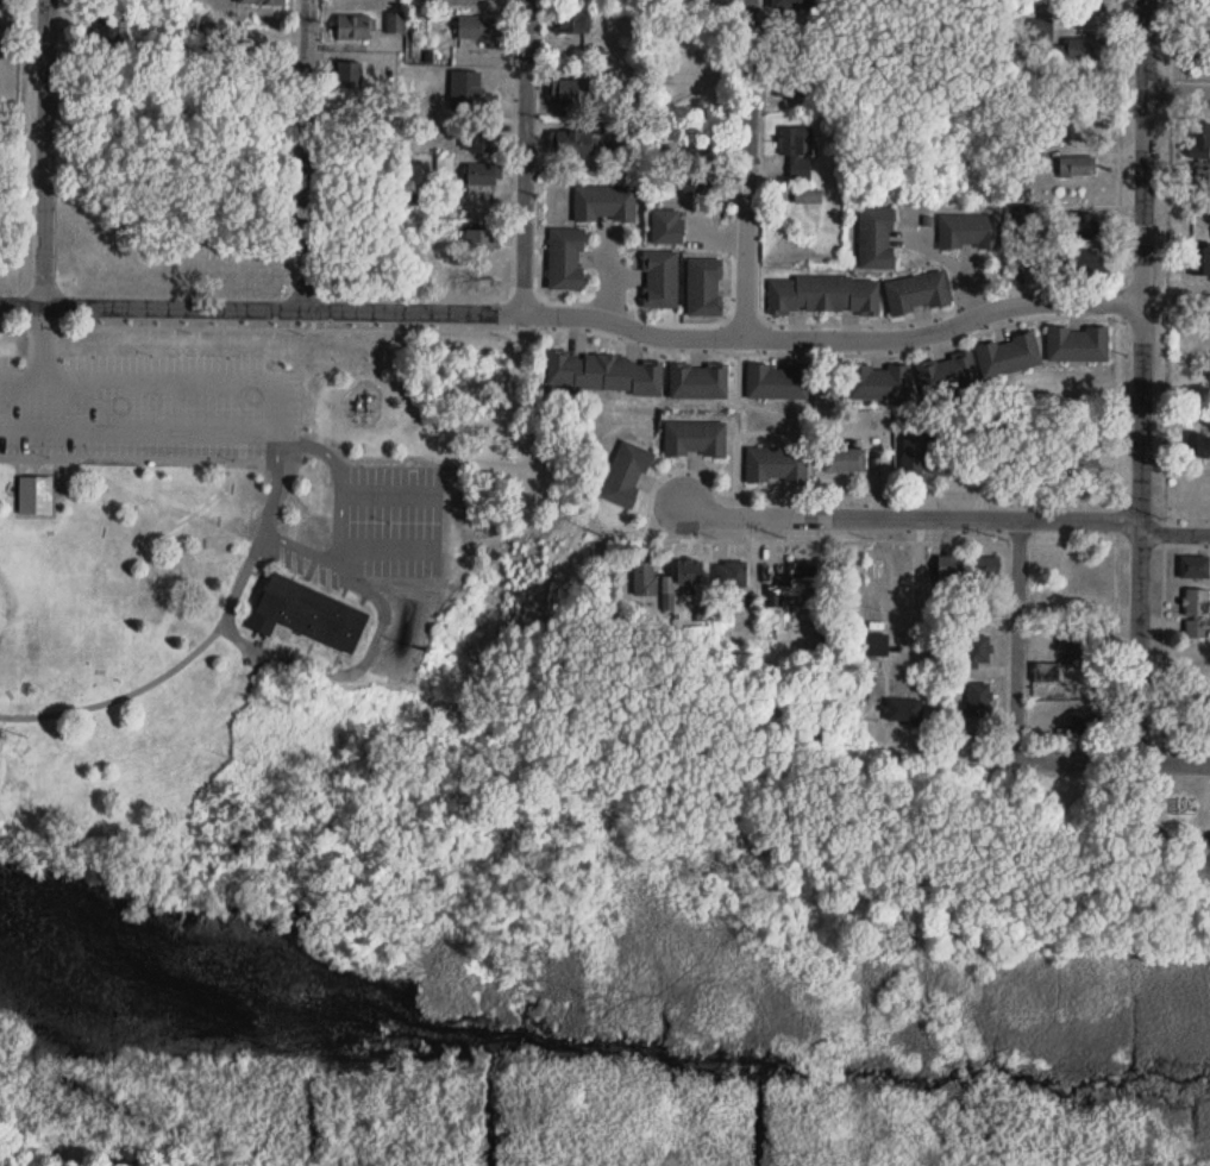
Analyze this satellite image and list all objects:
building: (261, 2)
building: (789, 5)
building: (1204, 8)
building: (572, 21)
building: (395, 23)
building: (353, 27)
building: (481, 29)
building: (1084, 48)
building: (349, 75)
building: (789, 83)
road: (1177, 88)
building: (466, 92)
building: (569, 92)
building: (1199, 139)
building: (482, 142)
building: (572, 143)
road: (44, 151)
building: (797, 151)
road: (305, 153)
road: (524, 156)
building: (444, 165)
building: (1077, 165)
road: (747, 168)
building: (1202, 170)
building: (483, 174)
building: (809, 196)
building: (606, 202)
building: (1085, 226)
building: (666, 227)
building: (970, 232)
building: (877, 238)
building: (479, 242)
road: (1117, 246)
building: (566, 258)
building: (1086, 259)
building: (1200, 261)
road: (1166, 271)
building: (660, 278)
building: (704, 287)
building: (917, 293)
building: (823, 295)
road: (261, 307)
road: (261, 328)
road: (867, 337)
building: (1078, 343)
building: (1007, 352)
building: (946, 371)
building: (606, 372)
building: (698, 380)
building: (877, 380)
road: (1140, 380)
building: (778, 381)
parking lot: (150, 413)
building: (695, 437)
building: (1199, 443)
building: (913, 457)
building: (1004, 458)
building: (844, 459)
building: (777, 464)
building: (1085, 466)
building: (1054, 469)
building: (627, 474)
road: (338, 485)
building: (36, 495)
road: (905, 515)
park: (369, 518)
road: (263, 532)
road: (1173, 533)
road: (1109, 541)
building: (988, 566)
building: (1195, 566)
park: (238, 569)
building: (948, 570)
building: (690, 571)
building: (1085, 571)
building: (734, 572)
building: (644, 575)
road: (917, 579)
building: (794, 583)
building: (308, 612)
building: (1196, 613)
road: (1162, 621)
road: (1114, 642)
building: (877, 645)
building: (1086, 645)
building: (979, 650)
building: (1087, 683)
road: (1016, 694)
building: (979, 698)
building: (904, 710)
building: (1086, 722)
road: (1173, 759)

